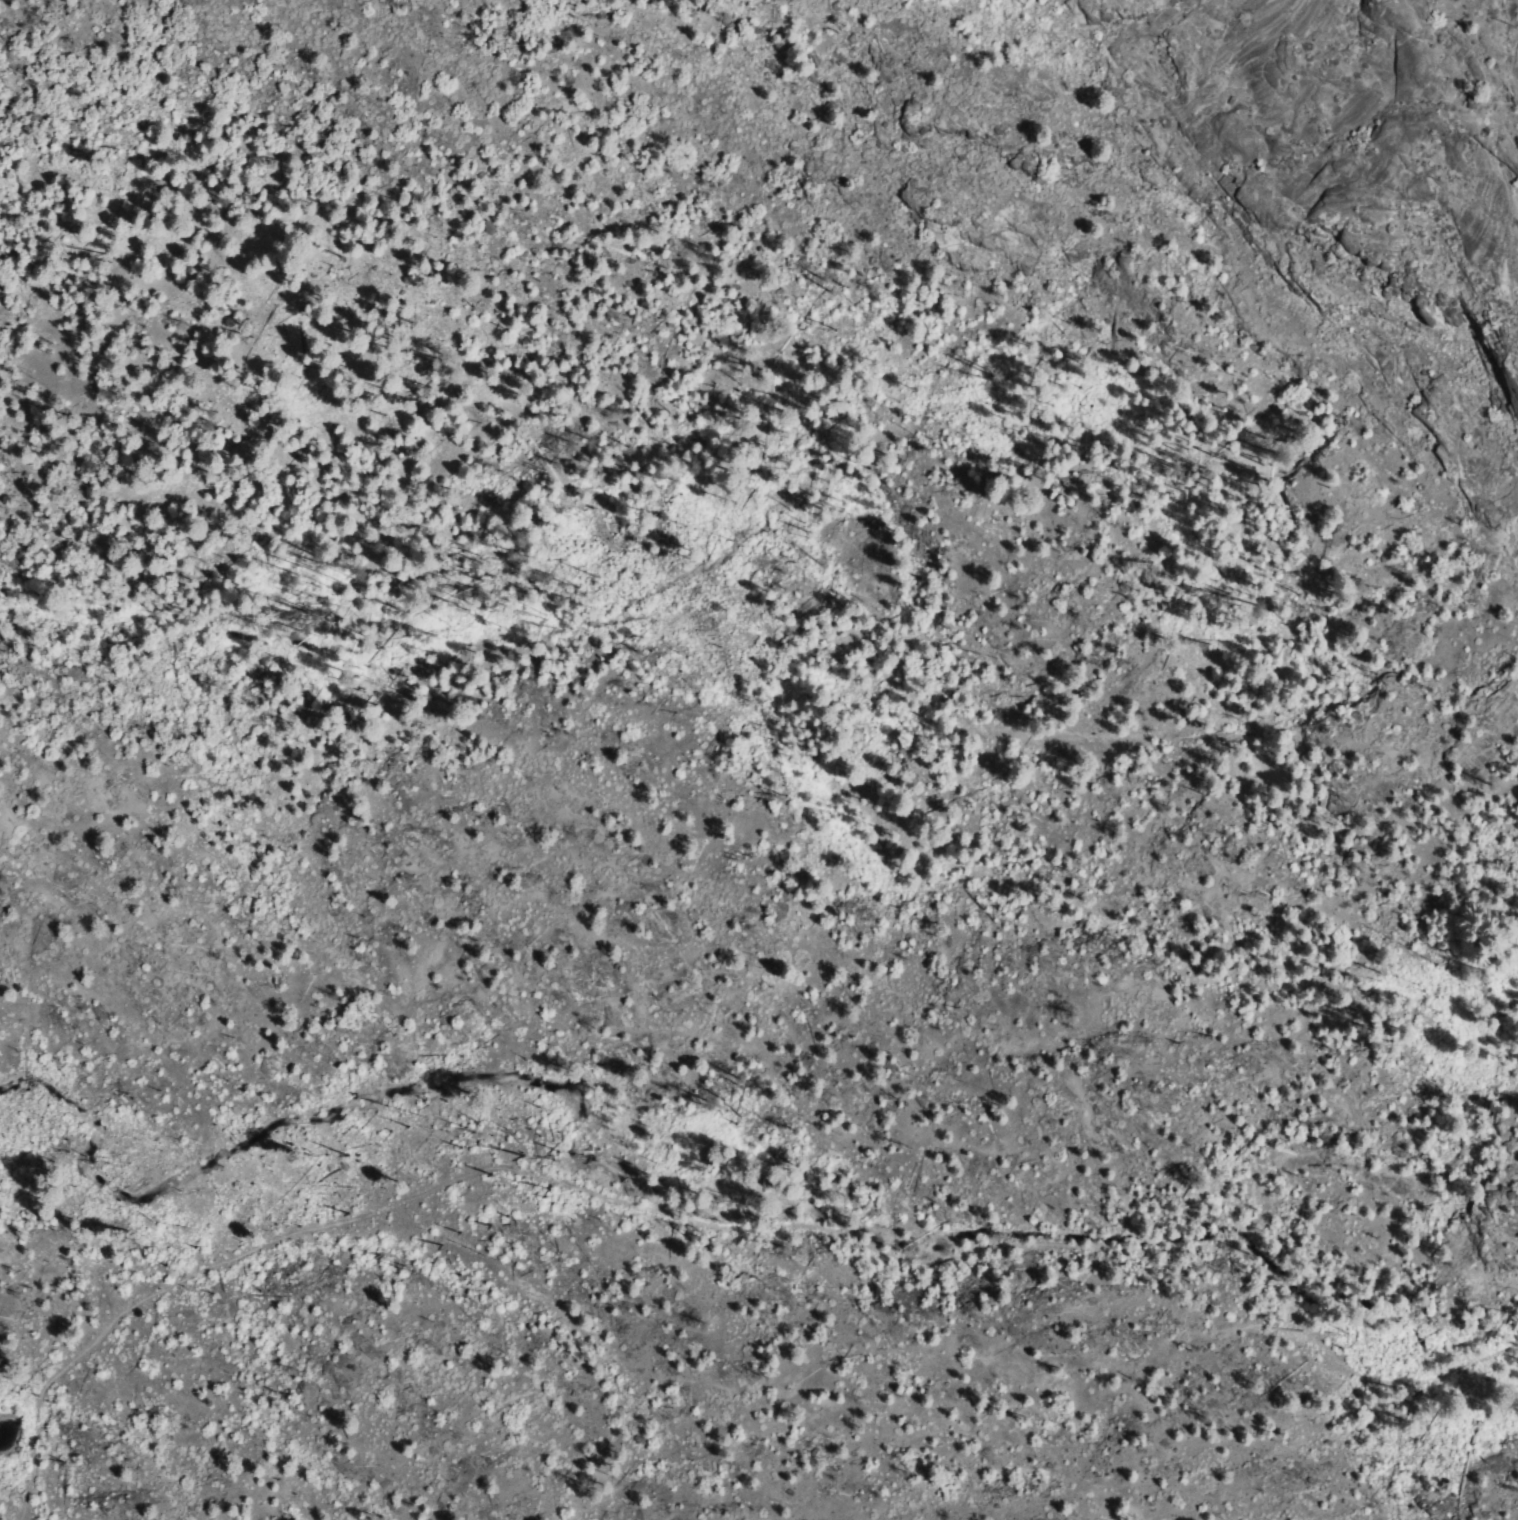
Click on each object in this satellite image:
road: (710, 1221)

